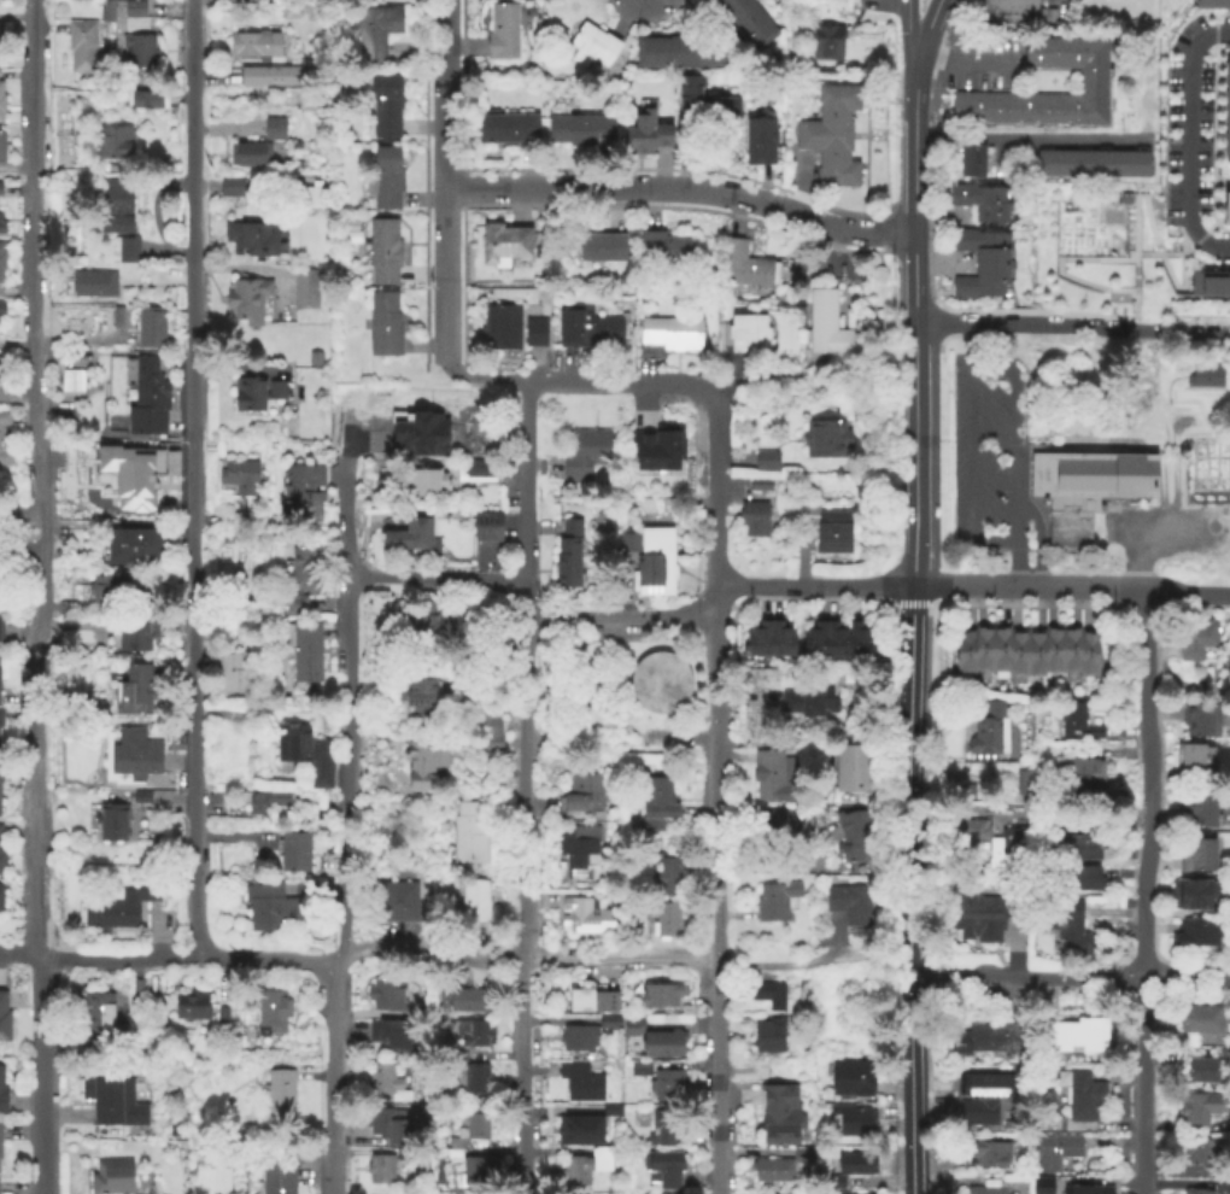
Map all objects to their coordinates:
building: (1212, 5)
road: (931, 6)
building: (134, 7)
building: (106, 11)
building: (1012, 13)
building: (749, 22)
building: (502, 31)
road: (906, 31)
building: (375, 33)
road: (919, 36)
building: (826, 43)
building: (81, 46)
building: (253, 46)
building: (591, 47)
building: (137, 51)
building: (680, 53)
road: (963, 53)
building: (271, 77)
building: (1093, 82)
building: (838, 99)
building: (145, 100)
building: (1, 103)
building: (386, 106)
building: (708, 110)
building: (1226, 112)
building: (826, 125)
building: (274, 129)
building: (505, 130)
building: (581, 131)
building: (645, 136)
road: (1190, 140)
building: (760, 141)
road: (1029, 141)
building: (112, 144)
building: (2, 147)
building: (826, 147)
building: (248, 156)
building: (971, 162)
building: (1055, 164)
building: (1091, 165)
building: (1126, 165)
building: (837, 175)
building: (385, 180)
road: (441, 186)
building: (0, 188)
building: (230, 188)
road: (679, 188)
road: (912, 193)
building: (309, 197)
building: (980, 204)
building: (1226, 206)
building: (116, 209)
building: (1, 228)
road: (1138, 233)
building: (252, 240)
building: (504, 247)
building: (982, 247)
building: (662, 248)
building: (603, 250)
building: (125, 251)
building: (383, 252)
building: (2, 259)
building: (744, 267)
building: (1209, 281)
building: (982, 283)
building: (95, 285)
building: (304, 291)
building: (247, 302)
building: (1, 309)
road: (1137, 314)
building: (116, 320)
road: (1024, 324)
building: (382, 327)
building: (150, 328)
building: (502, 328)
building: (586, 328)
road: (1183, 328)
building: (832, 330)
building: (534, 334)
building: (670, 335)
building: (748, 335)
road: (78, 344)
road: (970, 344)
road: (926, 358)
building: (312, 359)
road: (485, 376)
building: (1205, 377)
building: (2, 379)
road: (613, 380)
building: (72, 381)
building: (257, 394)
building: (145, 398)
road: (1014, 432)
building: (418, 435)
building: (0, 437)
building: (825, 440)
building: (654, 449)
building: (586, 453)
road: (47, 455)
road: (913, 455)
road: (731, 460)
building: (767, 463)
building: (482, 469)
road: (970, 474)
building: (133, 475)
road: (195, 478)
building: (239, 478)
building: (420, 484)
building: (760, 486)
building: (1086, 488)
road: (521, 490)
road: (715, 492)
building: (304, 494)
building: (246, 517)
building: (752, 519)
building: (487, 527)
building: (825, 527)
road: (1164, 527)
building: (412, 542)
building: (133, 549)
road: (1130, 557)
building: (568, 558)
building: (650, 561)
road: (1017, 563)
building: (0, 569)
building: (304, 570)
road: (434, 579)
road: (930, 587)
building: (109, 592)
road: (1188, 593)
road: (33, 597)
building: (295, 607)
road: (617, 619)
building: (418, 624)
building: (0, 633)
building: (135, 634)
building: (1197, 637)
road: (604, 640)
building: (758, 642)
building: (781, 642)
building: (815, 642)
building: (837, 642)
building: (860, 642)
building: (984, 650)
building: (1001, 650)
building: (1071, 650)
building: (1053, 651)
building: (965, 652)
building: (305, 654)
building: (1019, 654)
building: (1036, 654)
building: (1089, 654)
road: (550, 673)
building: (233, 677)
road: (604, 683)
park: (616, 683)
building: (658, 683)
water tower: (660, 684)
building: (135, 687)
building: (416, 698)
road: (742, 698)
building: (809, 703)
road: (224, 715)
building: (0, 720)
building: (1196, 720)
building: (491, 724)
building: (1078, 724)
road: (594, 726)
building: (992, 734)
road: (678, 739)
road: (774, 739)
road: (529, 742)
building: (492, 744)
building: (304, 753)
building: (134, 755)
building: (1189, 757)
building: (423, 759)
building: (853, 771)
building: (771, 774)
building: (1, 775)
building: (1083, 775)
road: (520, 779)
road: (715, 780)
road: (1149, 783)
building: (1027, 785)
building: (963, 794)
building: (582, 796)
building: (140, 797)
building: (215, 800)
building: (264, 802)
building: (657, 806)
building: (163, 809)
building: (1197, 813)
road: (1079, 821)
building: (110, 824)
road: (344, 824)
building: (775, 824)
building: (468, 836)
building: (971, 837)
road: (230, 838)
building: (857, 842)
building: (576, 844)
building: (1023, 849)
building: (1082, 849)
building: (294, 853)
building: (1197, 856)
building: (1, 860)
road: (787, 867)
building: (670, 877)
building: (1083, 880)
road: (907, 890)
building: (1194, 895)
building: (0, 897)
building: (476, 900)
building: (396, 902)
building: (774, 903)
building: (1228, 903)
building: (845, 905)
building: (269, 907)
building: (118, 909)
building: (582, 918)
building: (979, 918)
building: (666, 923)
building: (1064, 926)
building: (1194, 936)
road: (832, 946)
road: (364, 949)
road: (169, 958)
road: (553, 958)
road: (765, 965)
road: (1025, 976)
road: (1187, 978)
building: (137, 989)
building: (804, 993)
building: (386, 994)
building: (768, 995)
building: (660, 996)
building: (470, 1001)
building: (591, 1001)
building: (192, 1006)
building: (271, 1013)
building: (96, 1014)
building: (221, 1016)
building: (4, 1020)
building: (1200, 1020)
building: (609, 1025)
building: (473, 1034)
building: (391, 1035)
building: (768, 1036)
building: (1074, 1036)
building: (996, 1037)
building: (578, 1038)
building: (655, 1041)
building: (456, 1058)
building: (619, 1063)
building: (639, 1069)
building: (1203, 1072)
road: (520, 1076)
road: (716, 1078)
building: (381, 1079)
building: (581, 1079)
building: (853, 1079)
building: (475, 1081)
road: (1144, 1085)
building: (667, 1087)
building: (2, 1094)
building: (1080, 1095)
building: (280, 1100)
building: (113, 1102)
building: (982, 1105)
building: (611, 1106)
building: (1197, 1110)
building: (780, 1116)
building: (854, 1122)
building: (1228, 1124)
building: (385, 1125)
building: (579, 1128)
building: (470, 1129)
building: (660, 1134)
building: (0, 1141)
building: (424, 1153)
building: (1053, 1153)
building: (1199, 1153)
building: (409, 1154)
building: (452, 1154)
building: (991, 1154)
building: (799, 1157)
building: (857, 1165)
building: (586, 1167)
building: (664, 1169)
building: (380, 1170)
building: (772, 1171)
building: (475, 1175)
building: (111, 1177)
building: (277, 1177)
building: (833, 1183)
building: (1042, 1187)
building: (986, 1189)
building: (1088, 1190)
building: (1199, 1192)
building: (660, 1193)
building: (768, 1193)

